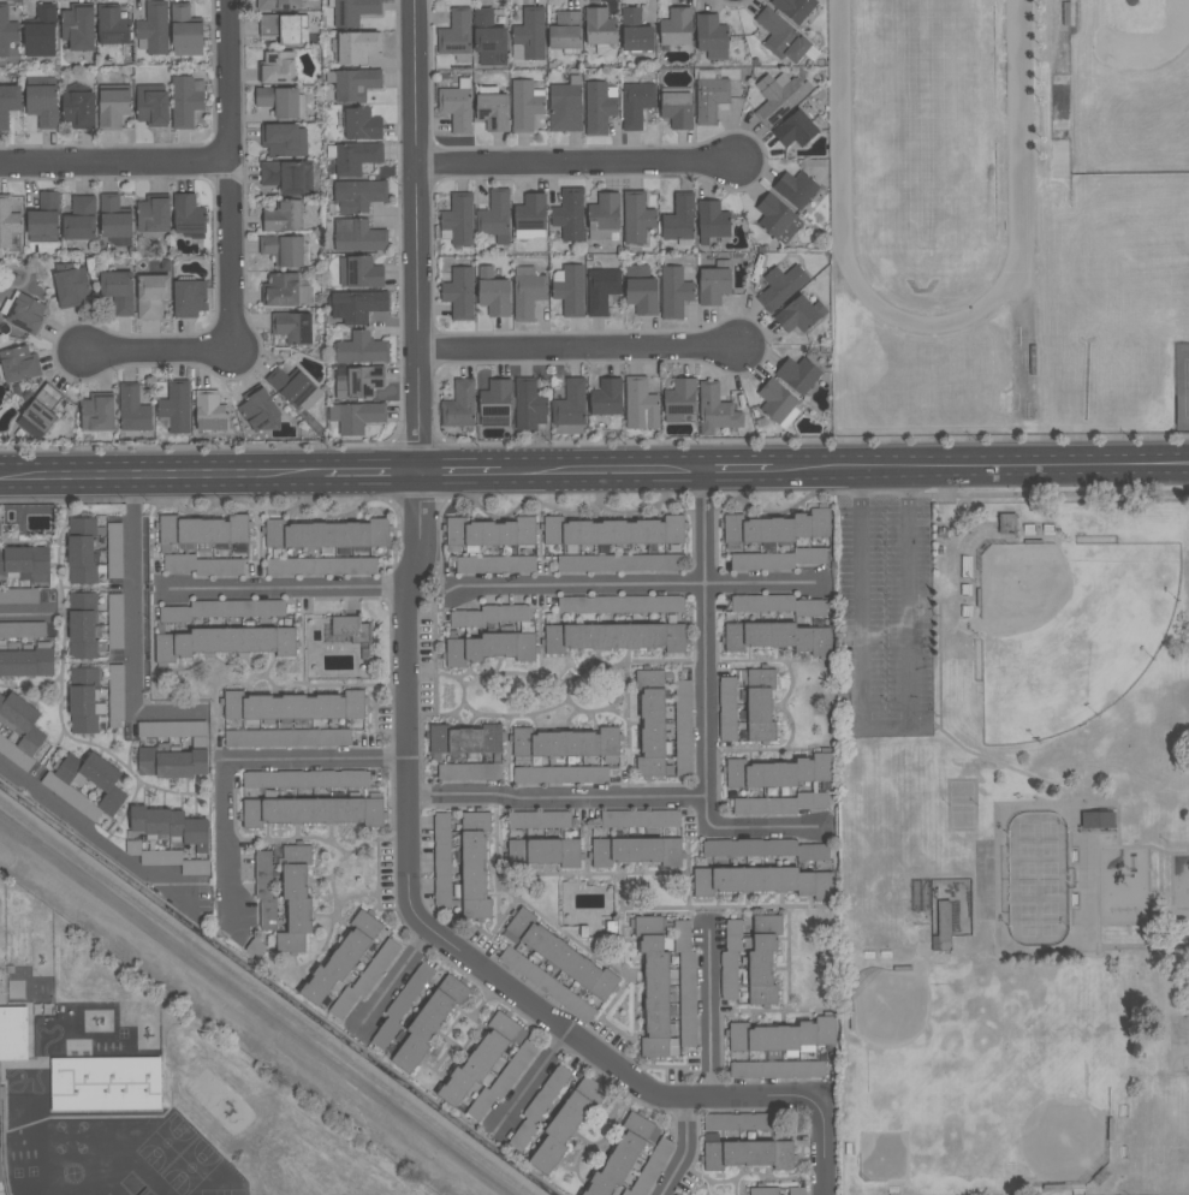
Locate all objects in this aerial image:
building: (279, 4)
building: (793, 8)
building: (352, 12)
building: (78, 26)
building: (676, 26)
building: (112, 28)
building: (283, 28)
building: (153, 29)
building: (7, 30)
building: (600, 30)
building: (635, 30)
building: (40, 31)
building: (185, 31)
building: (565, 32)
building: (456, 35)
building: (529, 35)
building: (711, 36)
building: (488, 37)
building: (783, 38)
building: (355, 47)
building: (277, 67)
building: (353, 84)
building: (709, 96)
building: (778, 96)
building: (185, 101)
building: (281, 101)
building: (8, 103)
building: (42, 105)
building: (151, 105)
building: (525, 105)
building: (635, 105)
building: (456, 106)
building: (565, 106)
building: (599, 107)
building: (677, 107)
building: (78, 108)
building: (113, 108)
building: (492, 109)
building: (362, 124)
building: (795, 130)
building: (283, 139)
building: (353, 156)
road: (114, 161)
road: (577, 165)
building: (287, 176)
building: (796, 189)
building: (358, 195)
building: (154, 213)
building: (188, 214)
building: (569, 214)
building: (283, 216)
building: (494, 216)
building: (530, 216)
building: (604, 216)
track: (1025, 216)
building: (43, 218)
building: (636, 218)
building: (457, 219)
building: (777, 219)
building: (79, 220)
building: (115, 220)
building: (679, 220)
building: (712, 220)
building: (7, 222)
building: (358, 236)
road: (231, 243)
track: (843, 249)
building: (283, 250)
building: (359, 272)
building: (714, 283)
building: (71, 285)
building: (780, 286)
building: (569, 289)
building: (284, 290)
building: (601, 290)
building: (640, 290)
building: (118, 291)
building: (492, 292)
building: (527, 292)
building: (674, 292)
building: (458, 293)
building: (151, 295)
building: (189, 297)
building: (357, 305)
building: (24, 313)
building: (799, 314)
building: (293, 327)
building: (362, 349)
road: (578, 350)
building: (18, 364)
building: (797, 374)
building: (357, 381)
park: (1183, 386)
building: (293, 387)
building: (606, 397)
building: (679, 399)
building: (495, 403)
building: (570, 404)
building: (778, 404)
building: (459, 405)
building: (528, 405)
building: (640, 405)
building: (176, 406)
building: (132, 409)
building: (715, 410)
building: (209, 411)
building: (260, 411)
building: (40, 412)
building: (97, 415)
building: (356, 417)
road: (1048, 470)
road: (872, 471)
road: (739, 472)
road: (804, 472)
road: (602, 474)
road: (459, 475)
road: (371, 476)
road: (161, 480)
building: (774, 529)
building: (203, 533)
building: (488, 533)
building: (613, 533)
building: (327, 535)
building: (81, 551)
building: (114, 551)
building: (778, 559)
building: (620, 563)
building: (24, 564)
building: (495, 564)
building: (202, 565)
road: (933, 565)
building: (320, 566)
road: (637, 587)
road: (290, 590)
building: (18, 596)
road: (136, 597)
building: (619, 604)
building: (779, 605)
building: (221, 610)
road: (23, 617)
building: (492, 617)
building: (83, 626)
building: (351, 629)
building: (22, 630)
park: (1070, 632)
building: (614, 637)
building: (777, 637)
building: (225, 642)
building: (488, 648)
road: (706, 652)
building: (26, 660)
building: (85, 701)
building: (115, 703)
building: (759, 703)
building: (293, 706)
building: (727, 708)
road: (170, 715)
building: (20, 723)
building: (653, 724)
road: (887, 726)
building: (682, 727)
building: (171, 729)
building: (286, 737)
road: (406, 739)
building: (465, 742)
building: (565, 744)
building: (172, 762)
road: (317, 762)
building: (469, 772)
building: (778, 772)
building: (559, 774)
building: (93, 779)
building: (307, 779)
road: (557, 801)
building: (780, 804)
park: (963, 807)
building: (313, 810)
building: (640, 819)
building: (539, 820)
building: (1099, 820)
building: (170, 826)
park: (1019, 830)
road: (765, 831)
road: (95, 837)
road: (230, 840)
road: (1139, 846)
building: (765, 849)
building: (635, 851)
building: (542, 852)
building: (172, 861)
building: (441, 861)
building: (474, 866)
road: (1160, 873)
building: (1039, 879)
building: (762, 881)
road: (1172, 886)
building: (264, 890)
building: (295, 898)
road: (1089, 914)
road: (1148, 914)
road: (1172, 916)
building: (943, 927)
building: (559, 955)
building: (341, 958)
building: (731, 959)
building: (760, 961)
road: (397, 979)
building: (364, 980)
building: (685, 982)
building: (546, 983)
building: (655, 987)
building: (400, 1006)
road: (709, 1017)
building: (429, 1022)
building: (13, 1034)
building: (781, 1036)
park: (1179, 1045)
building: (481, 1058)
building: (777, 1069)
park: (979, 1076)
building: (503, 1081)
road: (534, 1082)
building: (105, 1084)
building: (539, 1107)
building: (741, 1122)
building: (566, 1123)
road: (685, 1149)
building: (623, 1154)
building: (747, 1154)
building: (650, 1169)
building: (0, 1171)
building: (762, 1190)
building: (796, 1191)
building: (677, 1194)

